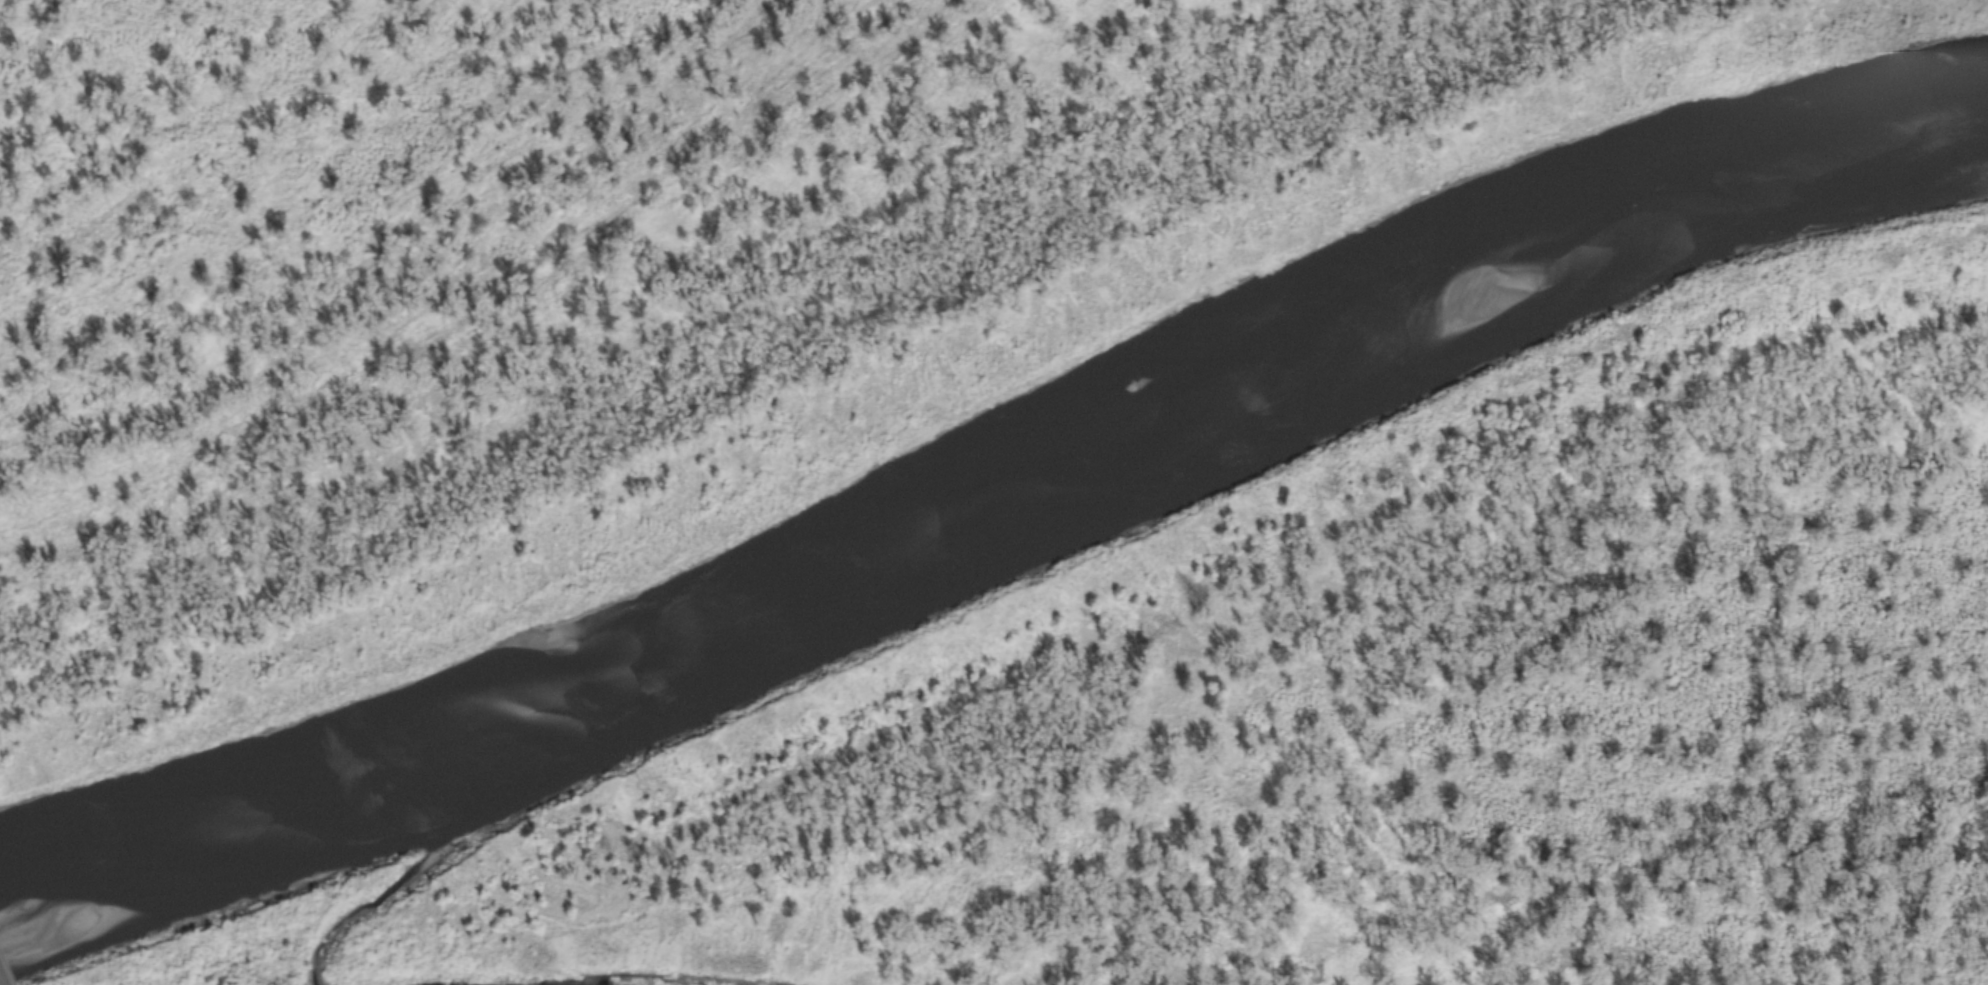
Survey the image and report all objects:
river: (992, 499)
river: (404, 887)

